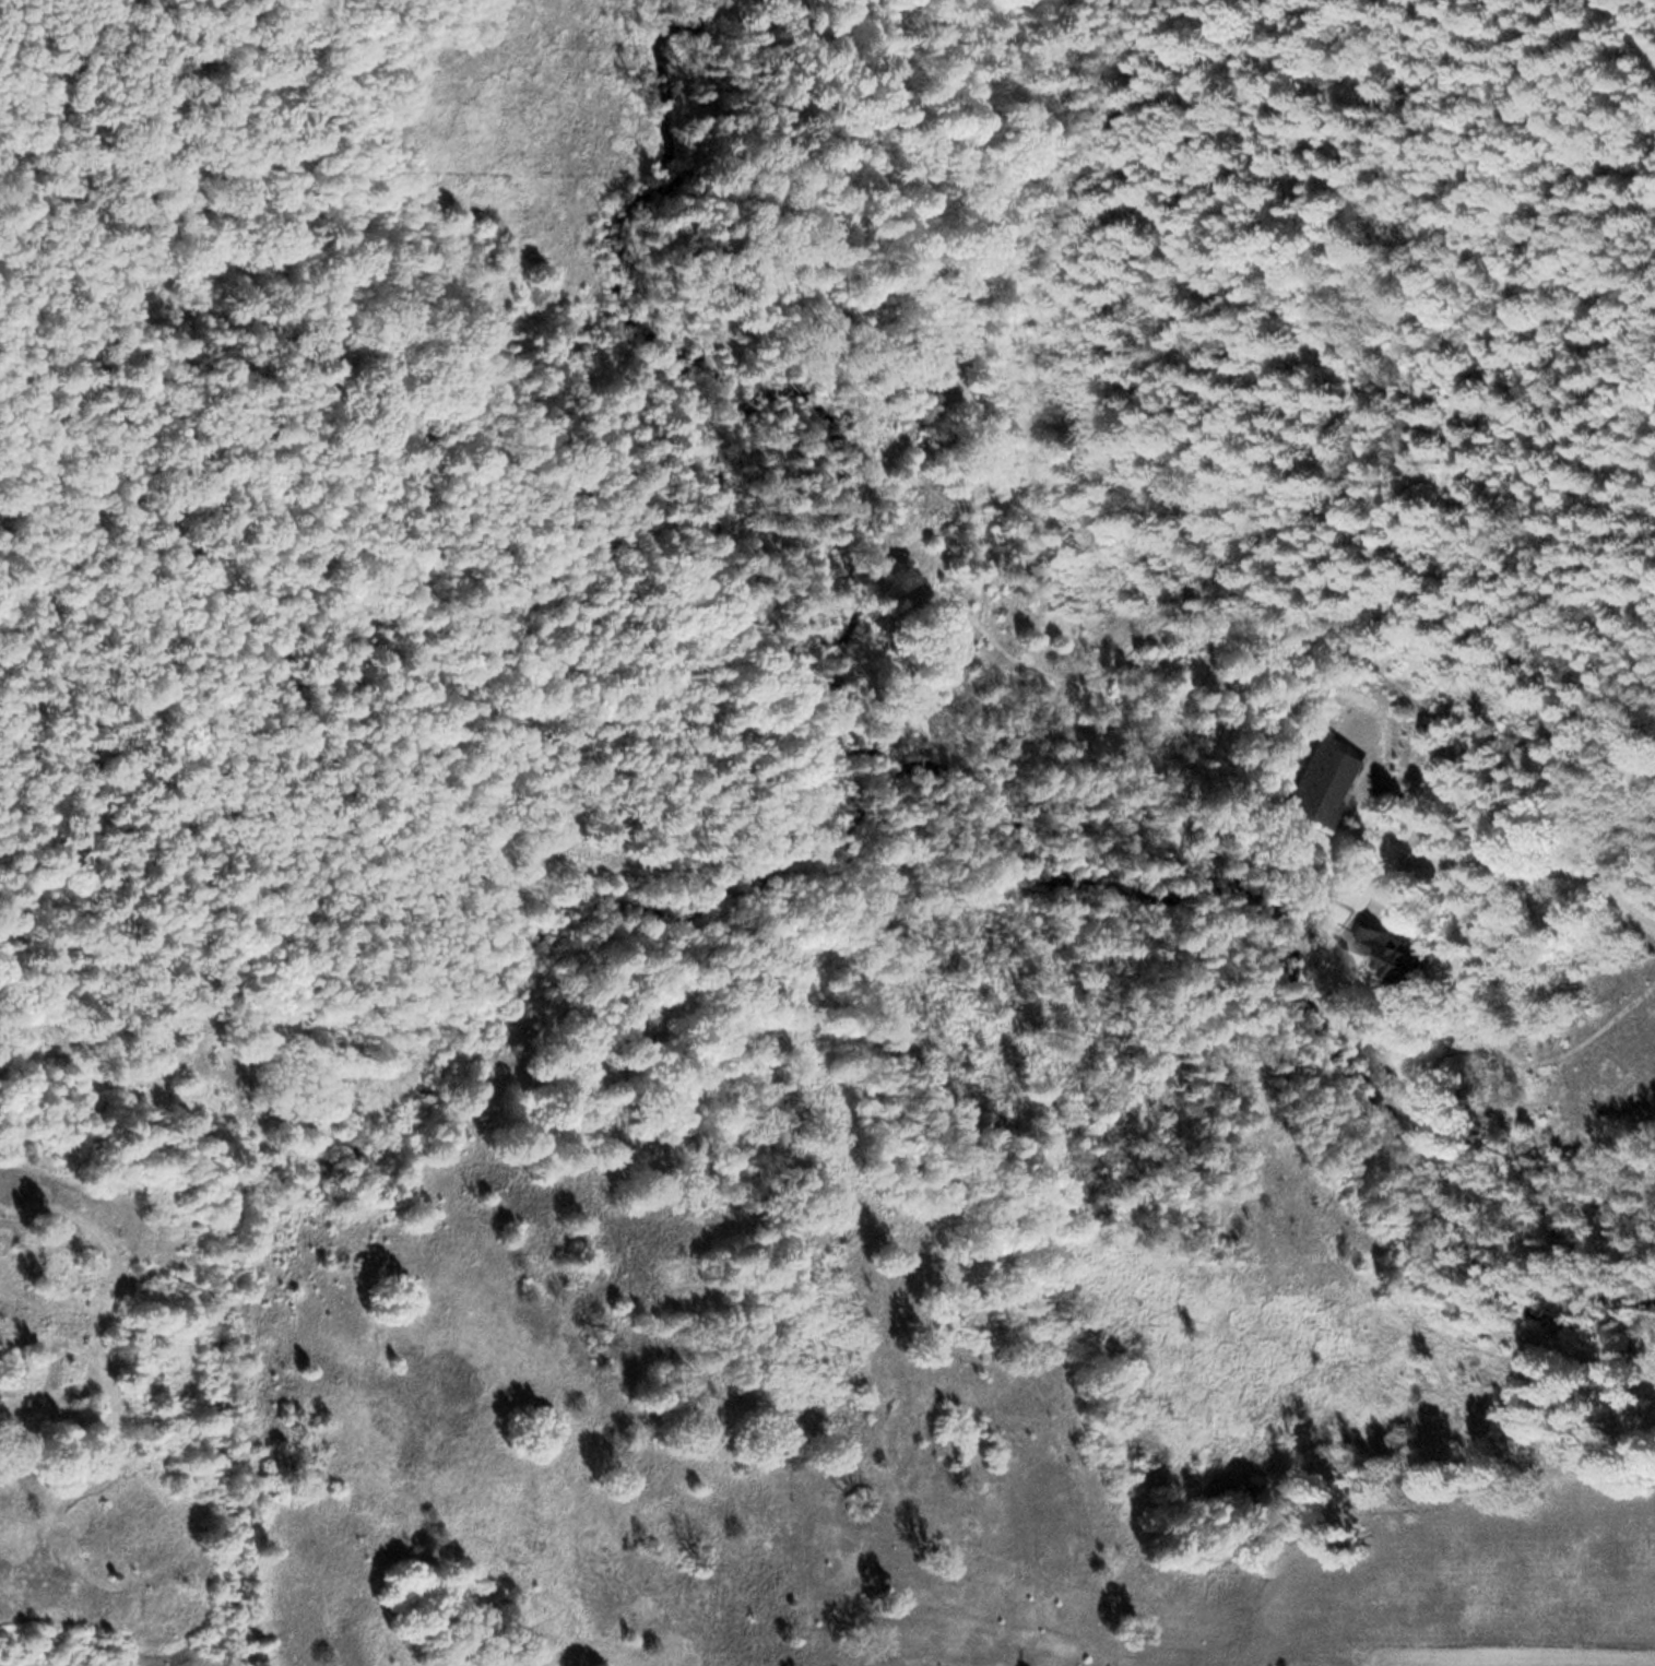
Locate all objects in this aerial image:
building: (1327, 782)
building: (1403, 958)

